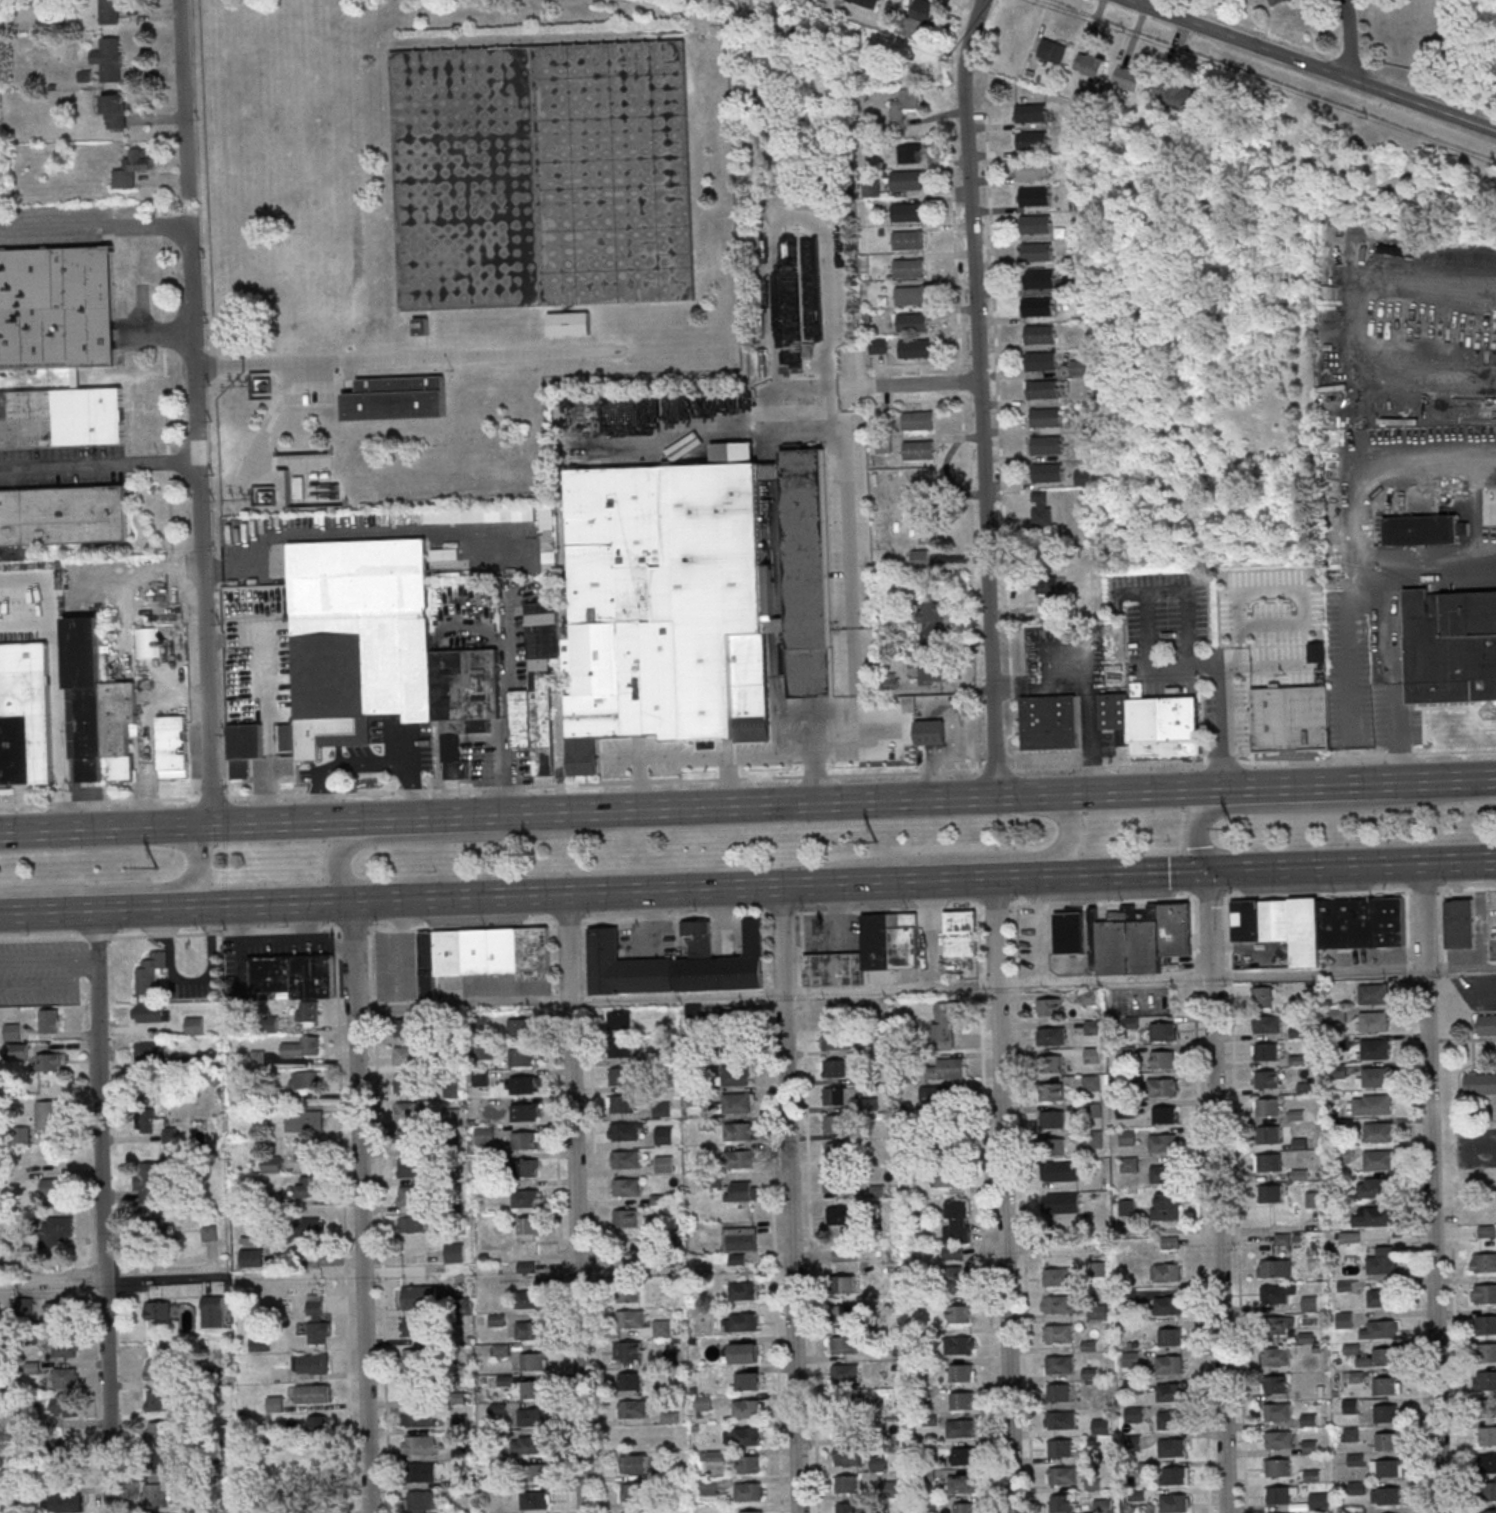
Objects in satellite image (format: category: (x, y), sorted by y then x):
building: (1276, 1)
building: (869, 3)
building: (109, 11)
building: (923, 11)
road: (1348, 39)
building: (1053, 50)
building: (109, 58)
building: (1089, 65)
road: (1315, 65)
road: (753, 75)
building: (1128, 77)
building: (1173, 95)
road: (182, 97)
building: (904, 107)
building: (113, 111)
building: (1028, 111)
building: (1028, 139)
building: (910, 153)
building: (1030, 166)
building: (132, 167)
building: (543, 176)
building: (903, 179)
road: (757, 188)
building: (1031, 195)
building: (904, 211)
road: (778, 220)
building: (1033, 223)
road: (94, 227)
building: (904, 239)
building: (1033, 251)
building: (905, 267)
building: (1036, 278)
building: (908, 294)
building: (1034, 306)
building: (57, 308)
building: (909, 321)
building: (571, 327)
building: (421, 328)
road: (166, 331)
building: (1036, 333)
road: (1369, 344)
building: (879, 345)
building: (911, 347)
road: (343, 360)
building: (1037, 360)
building: (1078, 366)
road: (923, 383)
road: (848, 385)
building: (1039, 388)
building: (393, 396)
road: (978, 396)
building: (60, 416)
building: (1042, 416)
building: (914, 420)
building: (1043, 443)
building: (915, 449)
road: (100, 463)
building: (1044, 472)
building: (1083, 477)
building: (1041, 508)
building: (61, 514)
road: (202, 515)
building: (929, 528)
building: (1423, 529)
road: (849, 547)
building: (920, 557)
road: (140, 568)
building: (803, 572)
building: (1048, 597)
building: (663, 603)
road: (1147, 605)
building: (929, 619)
road: (124, 621)
road: (1392, 626)
building: (146, 642)
building: (372, 644)
building: (1450, 645)
building: (1317, 652)
building: (932, 673)
building: (889, 680)
road: (56, 683)
building: (537, 688)
road: (150, 697)
road: (503, 698)
road: (265, 705)
building: (98, 706)
building: (23, 713)
building: (1289, 718)
building: (1049, 722)
building: (1149, 722)
road: (1216, 724)
building: (930, 731)
building: (172, 746)
building: (243, 748)
road: (815, 750)
road: (727, 758)
road: (361, 762)
road: (639, 768)
road: (748, 778)
road: (1447, 780)
road: (728, 782)
road: (1307, 785)
road: (145, 794)
road: (1214, 798)
road: (875, 800)
road: (1206, 811)
road: (426, 816)
road: (159, 826)
power tower: (1233, 832)
road: (432, 836)
road: (1197, 843)
power tower: (877, 846)
power tower: (534, 852)
road: (977, 857)
road: (1458, 860)
power tower: (158, 863)
road: (1314, 866)
traffic signals: (1208, 871)
road: (1134, 873)
road: (966, 880)
road: (125, 887)
road: (513, 895)
road: (77, 912)
road: (748, 913)
building: (1459, 923)
building: (1320, 924)
building: (1069, 931)
building: (960, 933)
building: (1139, 938)
road: (783, 939)
road: (566, 947)
building: (869, 951)
building: (479, 953)
building: (622, 967)
building: (150, 972)
building: (289, 974)
road: (1032, 983)
building: (1373, 994)
building: (1261, 996)
building: (1089, 997)
road: (460, 1004)
building: (1049, 1006)
building: (307, 1011)
building: (150, 1012)
building: (49, 1020)
building: (616, 1020)
building: (1373, 1021)
building: (1130, 1022)
building: (1267, 1024)
building: (1487, 1024)
building: (194, 1025)
building: (945, 1025)
building: (404, 1027)
building: (520, 1027)
building: (1093, 1027)
building: (12, 1031)
building: (1163, 1031)
building: (1051, 1036)
building: (835, 1040)
building: (302, 1047)
building: (618, 1048)
building: (733, 1048)
building: (1375, 1049)
building: (150, 1050)
building: (16, 1051)
building: (484, 1051)
building: (1264, 1051)
building: (404, 1055)
building: (523, 1057)
building: (1162, 1059)
building: (49, 1061)
building: (1052, 1064)
building: (834, 1068)
building: (949, 1068)
building: (616, 1075)
building: (735, 1075)
building: (1373, 1076)
building: (480, 1078)
building: (304, 1079)
building: (1266, 1079)
building: (404, 1082)
building: (1480, 1083)
building: (524, 1084)
building: (1162, 1087)
building: (1051, 1091)
building: (942, 1095)
building: (835, 1096)
building: (737, 1102)
building: (617, 1103)
building: (1375, 1104)
building: (1267, 1107)
building: (525, 1111)
building: (407, 1112)
building: (49, 1114)
building: (1165, 1114)
building: (1051, 1119)
building: (300, 1120)
building: (834, 1123)
building: (160, 1127)
building: (622, 1130)
building: (739, 1131)
building: (1378, 1131)
building: (21, 1134)
building: (664, 1134)
building: (1268, 1134)
building: (484, 1135)
building: (525, 1139)
building: (1093, 1139)
building: (1162, 1142)
building: (1054, 1146)
building: (835, 1151)
building: (948, 1151)
building: (303, 1152)
road: (1489, 1156)
building: (622, 1159)
building: (739, 1159)
building: (1379, 1160)
building: (1267, 1162)
building: (663, 1163)
building: (267, 1165)
building: (408, 1167)
building: (527, 1167)
building: (1063, 1171)
building: (1161, 1174)
building: (949, 1177)
building: (834, 1181)
building: (147, 1182)
building: (308, 1186)
building: (623, 1187)
building: (1372, 1187)
road: (1430, 1187)
building: (51, 1188)
building: (741, 1190)
road: (1216, 1192)
building: (1270, 1193)
building: (409, 1194)
road: (1001, 1196)
building: (526, 1198)
road: (1411, 1202)
building: (1061, 1203)
building: (1165, 1205)
road: (360, 1207)
road: (104, 1212)
road: (593, 1216)
building: (838, 1216)
building: (1373, 1216)
road: (555, 1217)
building: (625, 1218)
road: (377, 1220)
building: (955, 1221)
building: (411, 1224)
building: (312, 1226)
building: (63, 1227)
building: (528, 1228)
building: (209, 1233)
building: (739, 1238)
building: (454, 1252)
road: (789, 1252)
building: (951, 1252)
building: (844, 1255)
road: (575, 1256)
building: (251, 1257)
building: (1383, 1261)
building: (1483, 1262)
building: (1270, 1268)
building: (413, 1272)
building: (1166, 1272)
building: (1054, 1276)
road: (164, 1279)
building: (955, 1279)
building: (838, 1283)
building: (744, 1290)
building: (629, 1293)
building: (1484, 1293)
building: (1271, 1294)
building: (416, 1297)
building: (1379, 1297)
building: (527, 1299)
building: (1054, 1303)
building: (1310, 1303)
building: (1166, 1305)
building: (24, 1306)
building: (57, 1310)
building: (157, 1310)
building: (212, 1311)
building: (1097, 1311)
building: (839, 1313)
building: (959, 1314)
building: (630, 1319)
building: (1344, 1319)
building: (317, 1321)
building: (739, 1321)
building: (1280, 1324)
building: (1486, 1324)
building: (414, 1326)
building: (661, 1327)
building: (1381, 1329)
building: (530, 1330)
building: (1055, 1333)
building: (1170, 1336)
building: (843, 1345)
building: (955, 1345)
building: (65, 1346)
building: (633, 1349)
building: (1487, 1352)
building: (744, 1353)
building: (1273, 1357)
building: (1382, 1357)
building: (416, 1358)
building: (1130, 1360)
building: (533, 1361)
building: (310, 1362)
building: (1057, 1364)
building: (1166, 1364)
road: (1453, 1367)
building: (154, 1369)
building: (962, 1372)
building: (842, 1373)
building: (277, 1374)
building: (1353, 1376)
building: (65, 1377)
building: (748, 1380)
building: (1485, 1380)
building: (630, 1381)
building: (1275, 1384)
building: (1387, 1385)
building: (1131, 1386)
building: (414, 1389)
building: (534, 1389)
building: (311, 1392)
building: (1058, 1392)
building: (1167, 1392)
building: (157, 1399)
building: (963, 1400)
building: (844, 1401)
building: (703, 1403)
building: (275, 1404)
building: (62, 1405)
building: (1350, 1405)
building: (747, 1408)
building: (1486, 1408)
building: (633, 1409)
building: (1275, 1411)
building: (1386, 1412)
building: (1133, 1414)
building: (417, 1415)
building: (533, 1416)
building: (1058, 1419)
building: (1168, 1420)
building: (1101, 1425)
building: (318, 1426)
building: (845, 1427)
building: (957, 1428)
building: (158, 1430)
building: (1486, 1435)
building: (747, 1436)
building: (1276, 1440)
building: (1386, 1440)
building: (1133, 1442)
building: (419, 1443)
building: (529, 1444)
building: (1169, 1447)
building: (1059, 1448)
building: (713, 1455)
building: (964, 1455)
building: (845, 1456)
building: (158, 1461)
building: (877, 1462)
building: (1487, 1462)
building: (633, 1464)
building: (747, 1464)
building: (1274, 1467)
building: (1386, 1468)
building: (420, 1471)
building: (536, 1472)
building: (64, 1473)
building: (1060, 1475)
building: (1173, 1475)
building: (962, 1483)
building: (846, 1484)
building: (708, 1486)
building: (888, 1488)
building: (749, 1491)
building: (1489, 1491)
building: (631, 1492)
building: (155, 1494)
building: (1280, 1494)
building: (1386, 1496)
building: (535, 1499)
building: (1318, 1500)
building: (420, 1501)
building: (1170, 1502)
building: (65, 1503)
building: (1060, 1503)
building: (1105, 1504)
building: (965, 1507)
building: (845, 1508)
building: (631, 1511)
building: (750, 1511)
building: (1487, 1511)

